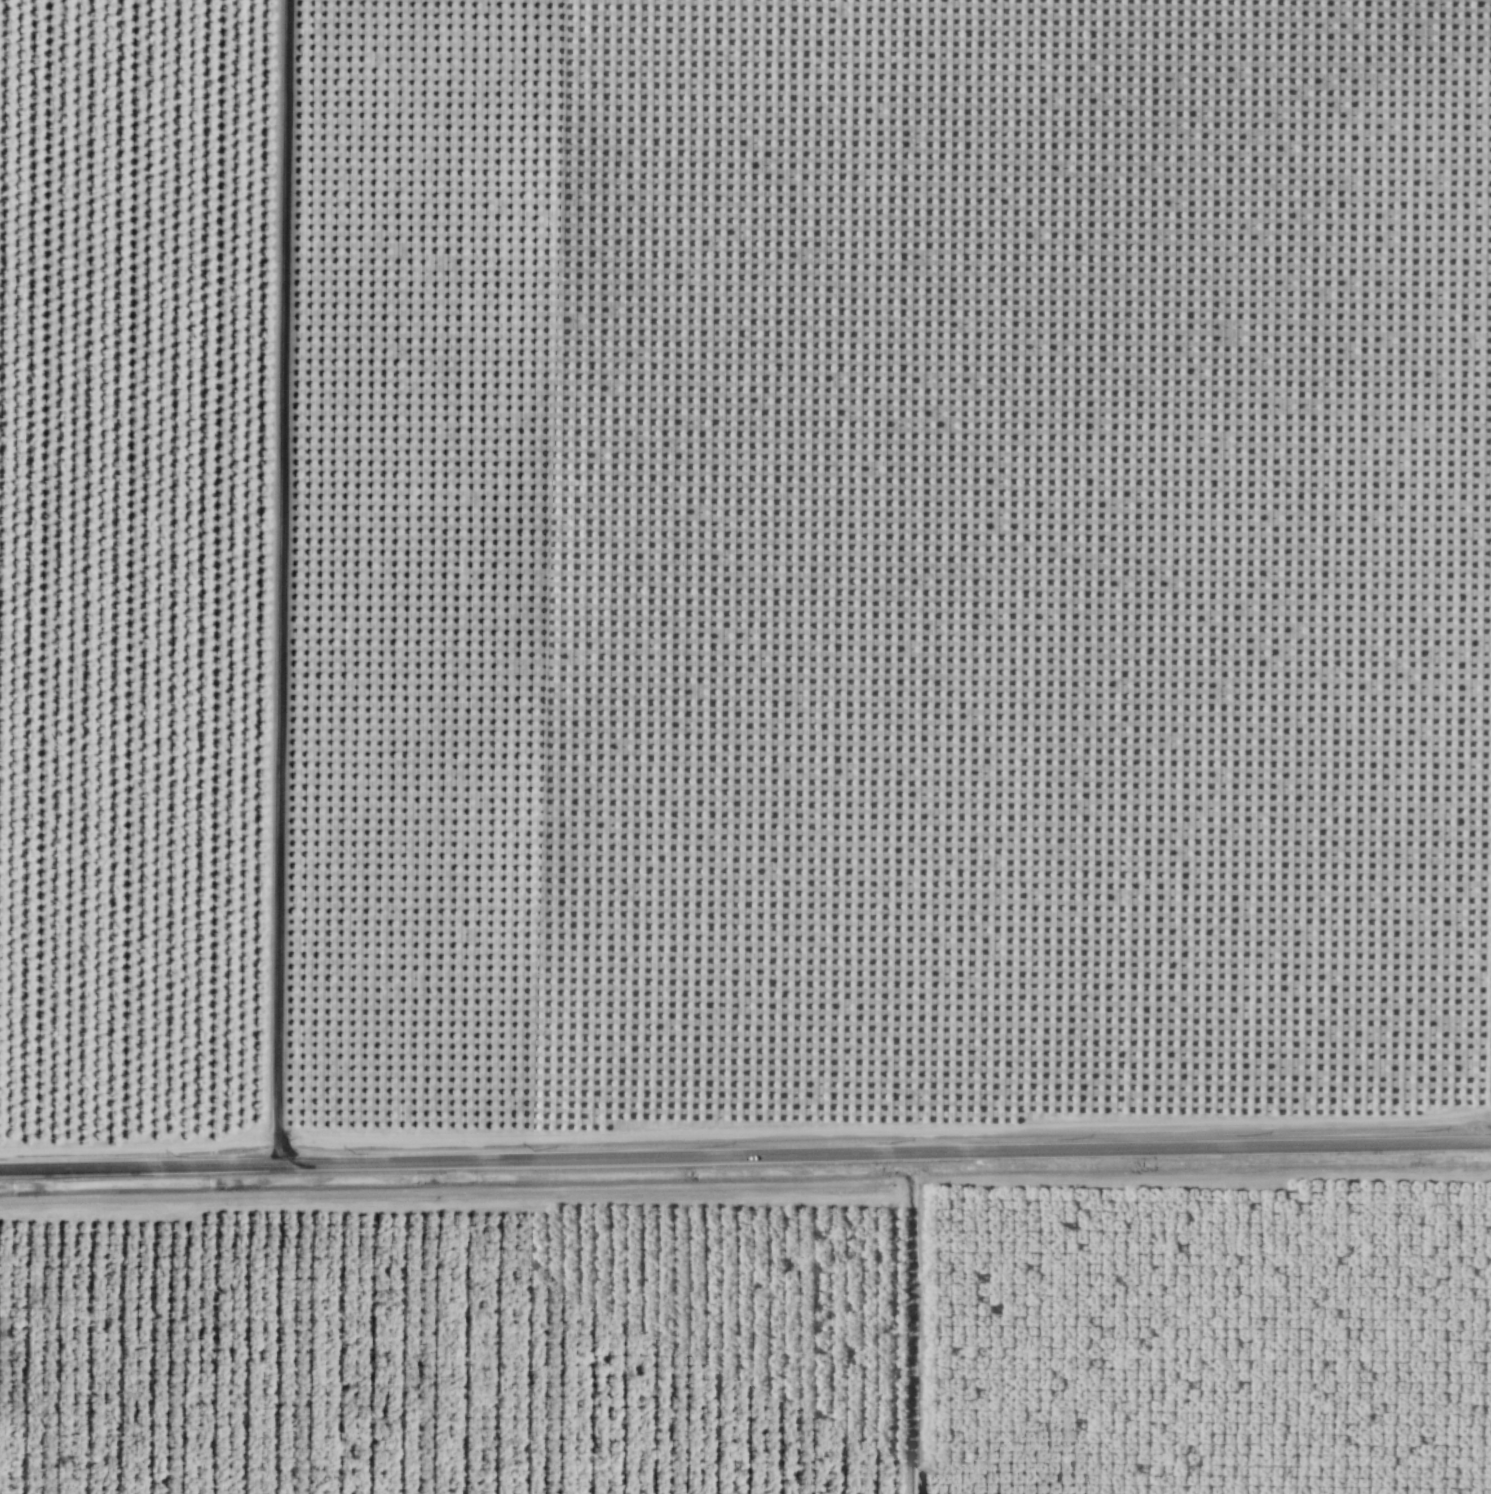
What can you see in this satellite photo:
road: (279, 582)
road: (139, 1146)
road: (745, 1153)
road: (1050, 1174)
road: (603, 1189)

